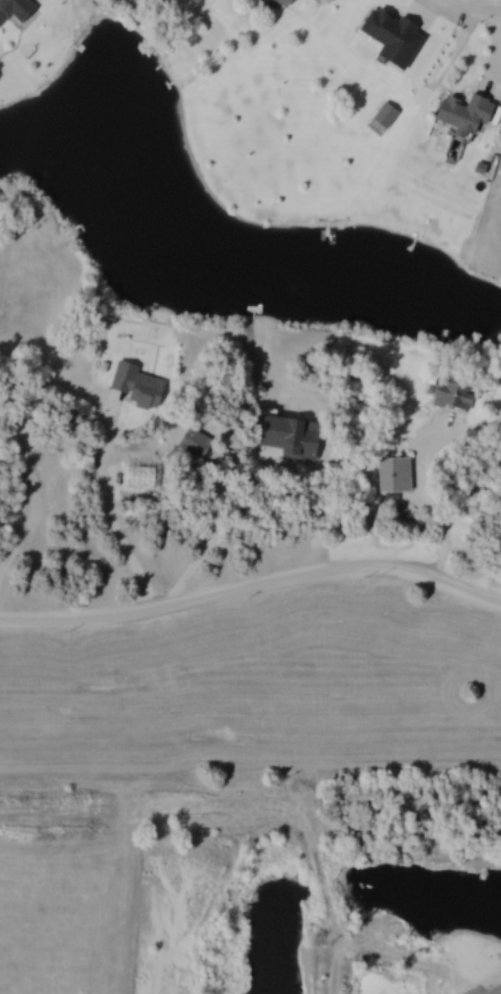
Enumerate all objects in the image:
building: (279, 2)
road: (476, 5)
building: (16, 9)
building: (1, 16)
building: (459, 113)
building: (381, 115)
building: (131, 385)
building: (449, 395)
building: (287, 438)
building: (390, 473)
road: (424, 499)
road: (108, 511)
road: (252, 584)
road: (326, 967)

